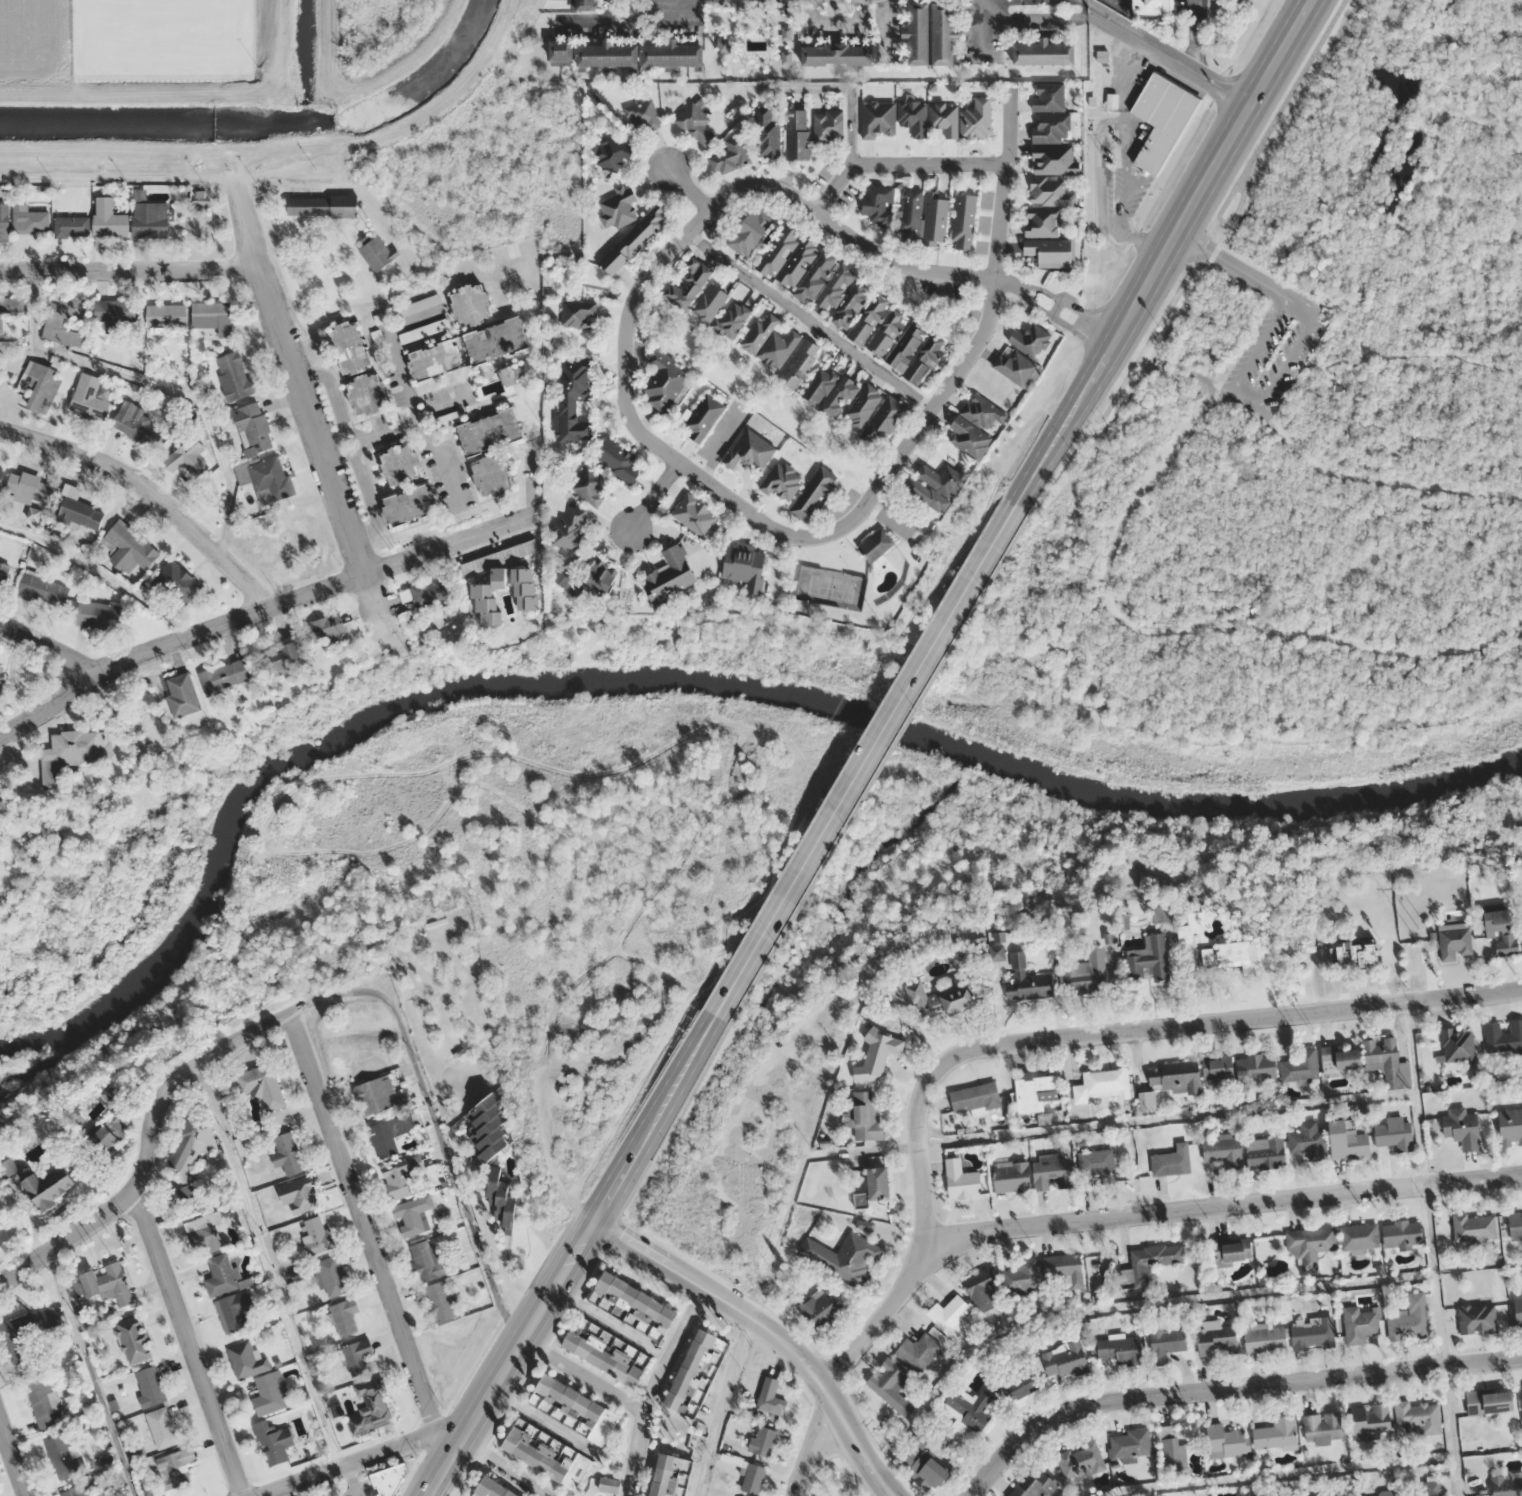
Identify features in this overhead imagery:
road: (1072, 2)
building: (582, 5)
building: (1150, 7)
road: (609, 10)
road: (882, 18)
road: (835, 19)
road: (611, 22)
road: (981, 30)
building: (916, 33)
building: (942, 33)
road: (1166, 49)
building: (561, 52)
building: (1043, 52)
building: (837, 54)
building: (607, 56)
building: (672, 56)
building: (1049, 96)
building: (642, 115)
building: (913, 117)
building: (977, 118)
building: (943, 119)
building: (878, 120)
building: (1162, 120)
building: (694, 124)
building: (828, 125)
building: (1051, 127)
building: (767, 134)
building: (797, 134)
building: (612, 154)
building: (730, 156)
building: (1054, 159)
road: (902, 162)
power tower: (1110, 163)
road: (689, 187)
road: (1005, 190)
road: (1413, 190)
building: (1050, 191)
building: (878, 204)
building: (322, 205)
building: (618, 207)
building: (910, 214)
building: (1316, 215)
building: (108, 219)
building: (150, 219)
building: (935, 219)
building: (30, 221)
building: (964, 221)
building: (1041, 221)
building: (4, 223)
building: (71, 226)
building: (1270, 226)
building: (750, 231)
building: (635, 240)
building: (778, 250)
road: (1164, 251)
building: (1050, 252)
building: (377, 253)
building: (798, 262)
road: (1210, 262)
road: (1230, 265)
road: (129, 268)
building: (817, 275)
building: (687, 287)
building: (835, 287)
building: (709, 303)
building: (471, 304)
building: (851, 305)
building: (10, 307)
building: (64, 310)
building: (578, 314)
building: (113, 315)
building: (166, 316)
building: (213, 317)
building: (732, 319)
building: (869, 319)
building: (424, 330)
building: (887, 332)
building: (495, 340)
building: (1030, 340)
building: (350, 347)
road: (625, 349)
building: (779, 349)
parking lot: (1273, 349)
building: (915, 352)
road: (1415, 353)
building: (435, 360)
road: (1296, 363)
building: (800, 364)
building: (1016, 368)
building: (508, 376)
building: (234, 377)
road: (297, 381)
building: (663, 381)
building: (42, 386)
road: (1230, 388)
building: (830, 391)
building: (367, 395)
building: (90, 397)
building: (573, 399)
road: (1262, 401)
building: (864, 405)
building: (704, 416)
building: (883, 422)
building: (137, 424)
building: (976, 425)
building: (253, 429)
building: (490, 431)
road: (1268, 442)
park: (1289, 448)
building: (750, 451)
power tower: (1121, 457)
building: (187, 458)
building: (620, 461)
building: (401, 464)
building: (1, 474)
building: (492, 474)
building: (266, 477)
building: (592, 485)
building: (30, 486)
building: (938, 486)
road: (149, 494)
building: (813, 494)
road: (656, 496)
building: (81, 513)
building: (694, 514)
building: (569, 529)
road: (1119, 532)
building: (877, 545)
building: (128, 548)
building: (745, 567)
building: (3, 575)
building: (670, 576)
building: (590, 579)
building: (175, 584)
building: (43, 589)
building: (525, 589)
building: (430, 591)
building: (490, 598)
road: (258, 611)
building: (99, 615)
building: (325, 627)
road: (50, 647)
building: (283, 654)
road: (1492, 670)
building: (226, 676)
building: (1, 681)
building: (182, 694)
road: (1248, 737)
building: (72, 752)
road: (866, 759)
road: (880, 766)
building: (2, 805)
park: (539, 886)
building: (1161, 913)
building: (1191, 927)
power tower: (1418, 928)
building: (1501, 930)
building: (1455, 942)
building: (998, 944)
building: (1354, 951)
building: (1227, 955)
building: (1149, 958)
building: (1088, 974)
building: (1027, 981)
building: (939, 999)
building: (1503, 1036)
road: (991, 1044)
building: (1458, 1044)
building: (878, 1055)
building: (1339, 1059)
building: (1388, 1061)
building: (1301, 1065)
building: (1256, 1066)
building: (1217, 1067)
building: (1174, 1073)
building: (262, 1086)
building: (1103, 1086)
building: (1036, 1092)
building: (374, 1094)
building: (975, 1098)
building: (1147, 1101)
building: (864, 1116)
building: (111, 1123)
road: (435, 1124)
building: (1463, 1126)
building: (1510, 1126)
road: (671, 1127)
building: (487, 1129)
building: (391, 1133)
building: (1396, 1134)
building: (1307, 1139)
building: (1348, 1141)
road: (147, 1144)
building: (1224, 1152)
building: (1265, 1152)
building: (286, 1153)
building: (188, 1154)
building: (1173, 1161)
building: (1096, 1162)
building: (1052, 1172)
building: (402, 1175)
building: (1012, 1177)
building: (962, 1179)
building: (879, 1182)
building: (48, 1187)
building: (300, 1193)
building: (501, 1198)
road: (1221, 1205)
building: (413, 1214)
road: (362, 1222)
building: (1515, 1225)
building: (1474, 1227)
road: (487, 1231)
building: (1402, 1233)
building: (204, 1234)
building: (317, 1235)
building: (1359, 1236)
building: (1310, 1244)
building: (1233, 1248)
building: (844, 1256)
road: (574, 1257)
building: (426, 1260)
building: (1150, 1261)
road: (270, 1264)
building: (1064, 1269)
power tower: (1443, 1270)
building: (221, 1275)
building: (1022, 1275)
building: (332, 1276)
building: (103, 1283)
building: (980, 1285)
building: (636, 1299)
building: (440, 1300)
building: (820, 1307)
building: (1518, 1308)
building: (235, 1310)
building: (948, 1313)
building: (344, 1316)
building: (1477, 1317)
building: (1410, 1318)
building: (1361, 1323)
road: (611, 1324)
building: (25, 1331)
road: (770, 1331)
building: (1313, 1332)
building: (1216, 1338)
building: (1265, 1338)
building: (134, 1339)
road: (186, 1341)
building: (1165, 1342)
building: (1121, 1350)
building: (917, 1351)
building: (605, 1353)
building: (358, 1356)
building: (1067, 1358)
building: (247, 1360)
road: (88, 1372)
building: (696, 1372)
road: (730, 1372)
road: (583, 1376)
building: (1023, 1383)
road: (1227, 1385)
building: (150, 1386)
building: (891, 1386)
road: (652, 1387)
building: (270, 1393)
building: (770, 1396)
building: (44, 1401)
building: (1490, 1401)
building: (973, 1405)
building: (372, 1407)
building: (577, 1408)
building: (1418, 1417)
building: (1371, 1420)
building: (162, 1427)
building: (1322, 1428)
building: (1276, 1433)
building: (1479, 1437)
road: (448, 1438)
building: (763, 1440)
building: (1225, 1441)
building: (273, 1442)
building: (1131, 1442)
building: (1172, 1448)
building: (63, 1455)
building: (546, 1458)
road: (12, 1459)
building: (1080, 1459)
road: (704, 1461)
road: (347, 1465)
building: (173, 1467)
road: (504, 1467)
building: (925, 1468)
building: (670, 1475)
building: (752, 1477)
building: (390, 1479)
road: (347, 1481)
building: (1034, 1484)
building: (1507, 1484)
building: (609, 1486)
building: (1424, 1487)
building: (492, 1489)
building: (77, 1490)
road: (439, 1491)
building: (1388, 1492)
building: (1332, 1494)

